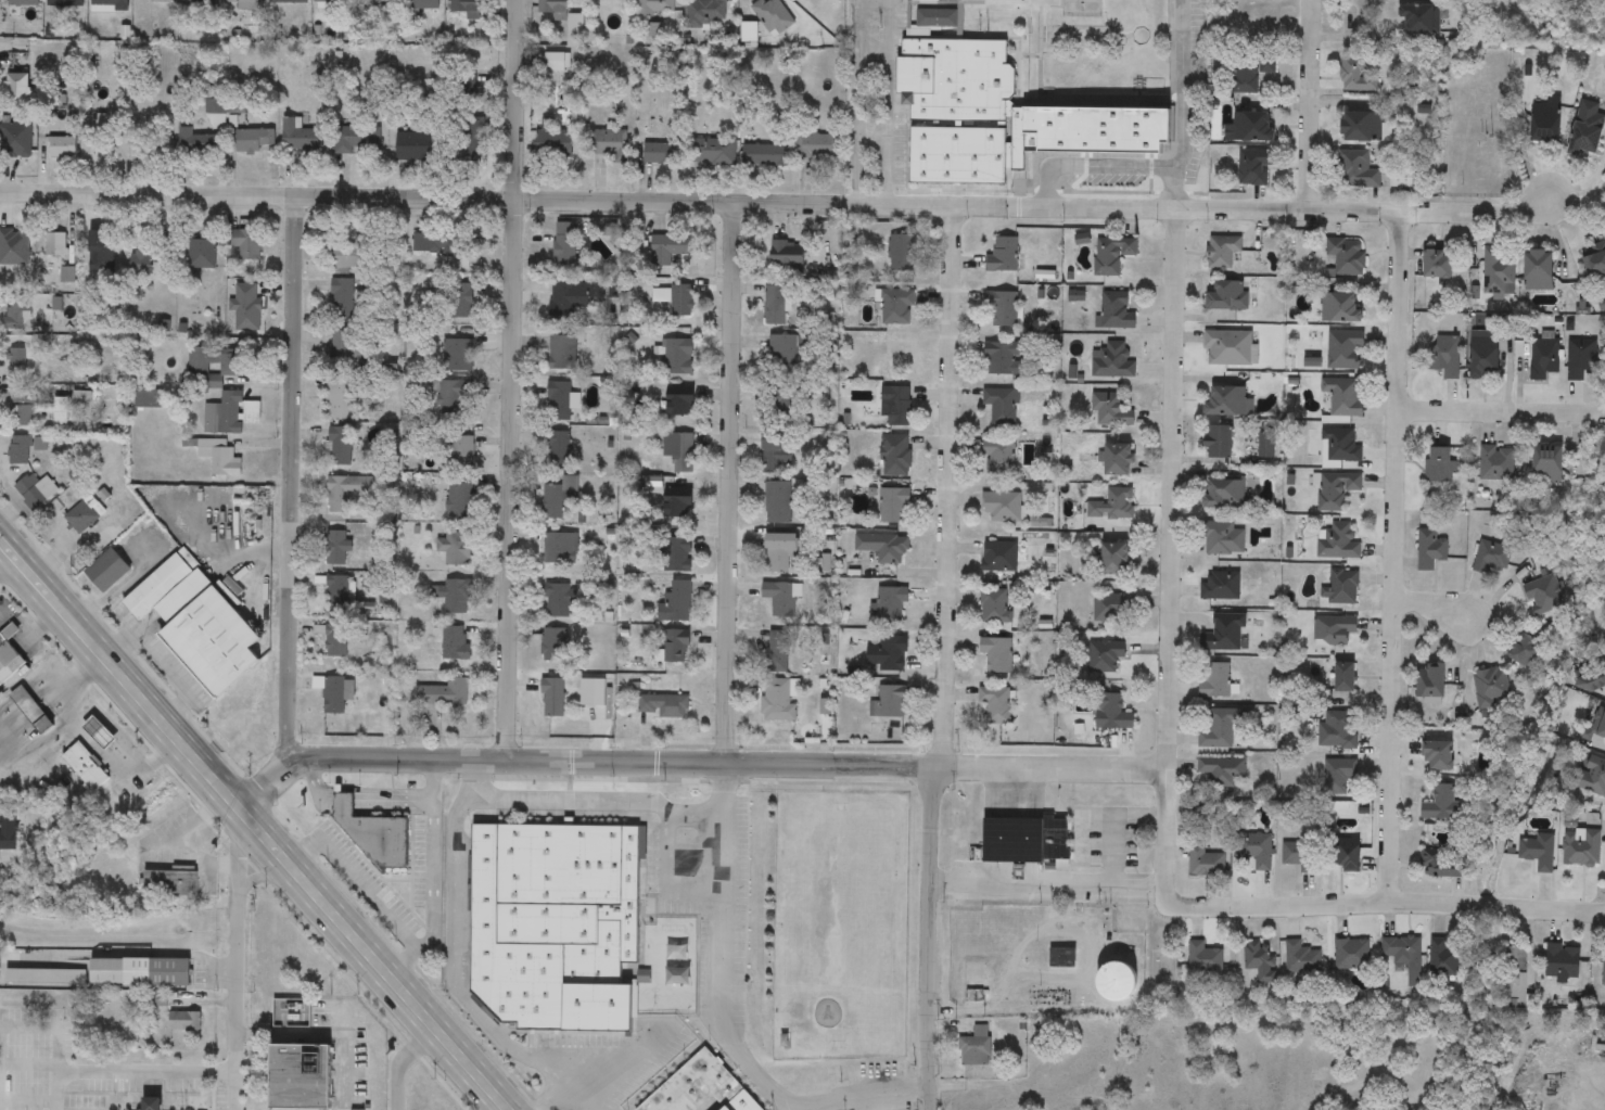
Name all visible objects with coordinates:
building: (819, 0)
building: (161, 1)
building: (332, 1)
building: (994, 1)
building: (64, 2)
building: (288, 2)
building: (926, 2)
building: (21, 3)
building: (610, 3)
building: (198, 4)
building: (246, 4)
building: (109, 5)
building: (420, 5)
building: (655, 8)
building: (373, 9)
building: (466, 9)
building: (553, 9)
building: (703, 13)
building: (773, 16)
building: (1419, 22)
building: (557, 63)
building: (1251, 71)
building: (1359, 75)
road: (1181, 84)
building: (15, 91)
road: (857, 102)
road: (887, 102)
road: (1310, 105)
building: (997, 112)
building: (1546, 122)
building: (1363, 127)
building: (1250, 128)
building: (1588, 130)
building: (297, 136)
building: (253, 140)
building: (355, 140)
building: (15, 141)
building: (551, 141)
building: (195, 145)
building: (610, 145)
building: (817, 146)
building: (61, 148)
building: (161, 148)
building: (412, 148)
building: (713, 152)
building: (660, 154)
building: (766, 155)
road: (1091, 166)
building: (1254, 167)
building: (1356, 169)
building: (1401, 179)
road: (1174, 188)
road: (474, 196)
road: (1253, 210)
building: (55, 245)
building: (440, 245)
building: (564, 246)
building: (14, 247)
building: (246, 247)
building: (1222, 252)
building: (99, 254)
building: (788, 254)
building: (901, 254)
building: (201, 255)
building: (347, 255)
building: (1111, 255)
building: (1003, 256)
building: (1347, 257)
building: (140, 263)
building: (1596, 263)
building: (1438, 265)
building: (1539, 271)
building: (1498, 273)
building: (661, 296)
building: (1228, 297)
building: (342, 298)
building: (566, 299)
building: (460, 302)
building: (680, 302)
building: (774, 306)
building: (896, 308)
building: (1003, 309)
building: (1341, 309)
building: (15, 311)
building: (1117, 312)
building: (342, 348)
building: (1227, 349)
building: (1346, 352)
building: (562, 354)
building: (782, 354)
building: (458, 356)
building: (677, 357)
building: (1445, 357)
building: (1485, 357)
building: (1544, 358)
building: (1004, 359)
building: (1581, 360)
building: (1111, 361)
building: (17, 365)
road: (508, 379)
building: (453, 396)
building: (145, 397)
building: (1343, 397)
building: (559, 401)
building: (1228, 403)
building: (680, 404)
building: (896, 407)
building: (1001, 407)
building: (786, 408)
building: (21, 410)
building: (1110, 410)
road: (1502, 411)
building: (230, 414)
building: (1219, 444)
building: (340, 447)
building: (1339, 448)
building: (20, 450)
building: (460, 450)
building: (557, 451)
building: (678, 451)
building: (775, 454)
building: (892, 457)
building: (219, 458)
building: (998, 458)
building: (1118, 461)
building: (1496, 464)
building: (1441, 467)
building: (1549, 467)
road: (727, 482)
road: (290, 483)
building: (35, 490)
building: (348, 492)
building: (1336, 492)
building: (1223, 495)
building: (556, 498)
building: (459, 502)
building: (677, 503)
building: (777, 503)
building: (892, 506)
building: (1112, 506)
building: (1002, 508)
building: (84, 515)
building: (1224, 539)
building: (1337, 543)
building: (883, 548)
building: (335, 549)
building: (456, 549)
building: (559, 549)
building: (1430, 549)
building: (779, 552)
road: (247, 553)
road: (1169, 556)
building: (677, 557)
building: (1491, 557)
building: (999, 558)
building: (1114, 561)
road: (1394, 561)
building: (106, 572)
road: (14, 573)
building: (1221, 587)
building: (1343, 588)
building: (337, 595)
building: (1545, 596)
building: (453, 597)
building: (780, 600)
building: (560, 601)
building: (676, 603)
road: (1431, 603)
building: (891, 605)
building: (993, 607)
building: (1111, 609)
building: (195, 625)
building: (1334, 631)
building: (1224, 635)
building: (333, 640)
building: (454, 645)
building: (553, 646)
building: (675, 647)
building: (777, 652)
building: (1528, 653)
building: (8, 654)
building: (889, 654)
building: (996, 655)
building: (1105, 656)
road: (943, 658)
road: (157, 664)
building: (1346, 678)
building: (1218, 681)
building: (1592, 681)
building: (1430, 682)
building: (1491, 689)
building: (333, 696)
building: (443, 696)
building: (552, 699)
building: (777, 702)
building: (888, 702)
building: (995, 705)
building: (661, 709)
building: (30, 711)
building: (1111, 714)
road: (107, 724)
building: (1602, 729)
building: (1220, 730)
building: (1338, 730)
road: (48, 740)
building: (1439, 756)
road: (695, 763)
building: (84, 767)
road: (474, 771)
building: (1222, 773)
building: (1338, 776)
building: (1593, 777)
road: (432, 780)
road: (726, 788)
road: (484, 793)
road: (464, 801)
road: (574, 802)
road: (354, 803)
building: (1441, 804)
road: (689, 812)
road: (255, 824)
road: (1111, 824)
building: (10, 831)
building: (372, 834)
road: (182, 838)
building: (1026, 840)
building: (1581, 847)
building: (1254, 850)
building: (1538, 852)
building: (1300, 856)
building: (1348, 856)
building: (1205, 863)
building: (1442, 864)
road: (431, 872)
road: (256, 878)
building: (169, 882)
road: (358, 882)
road: (1048, 884)
road: (1386, 909)
building: (555, 924)
road: (80, 954)
road: (192, 954)
building: (1352, 955)
building: (1404, 955)
building: (1298, 957)
building: (1062, 958)
building: (1203, 958)
building: (1444, 959)
road: (237, 960)
road: (412, 960)
building: (1260, 960)
building: (1511, 960)
building: (1563, 964)
building: (155, 972)
road: (451, 981)
building: (1117, 981)
building: (184, 1021)
road: (342, 1035)
road: (728, 1041)
building: (976, 1047)
road: (627, 1056)
road: (398, 1060)
road: (345, 1066)
road: (131, 1073)
building: (301, 1076)
building: (700, 1087)
road: (571, 1089)
building: (407, 1100)

